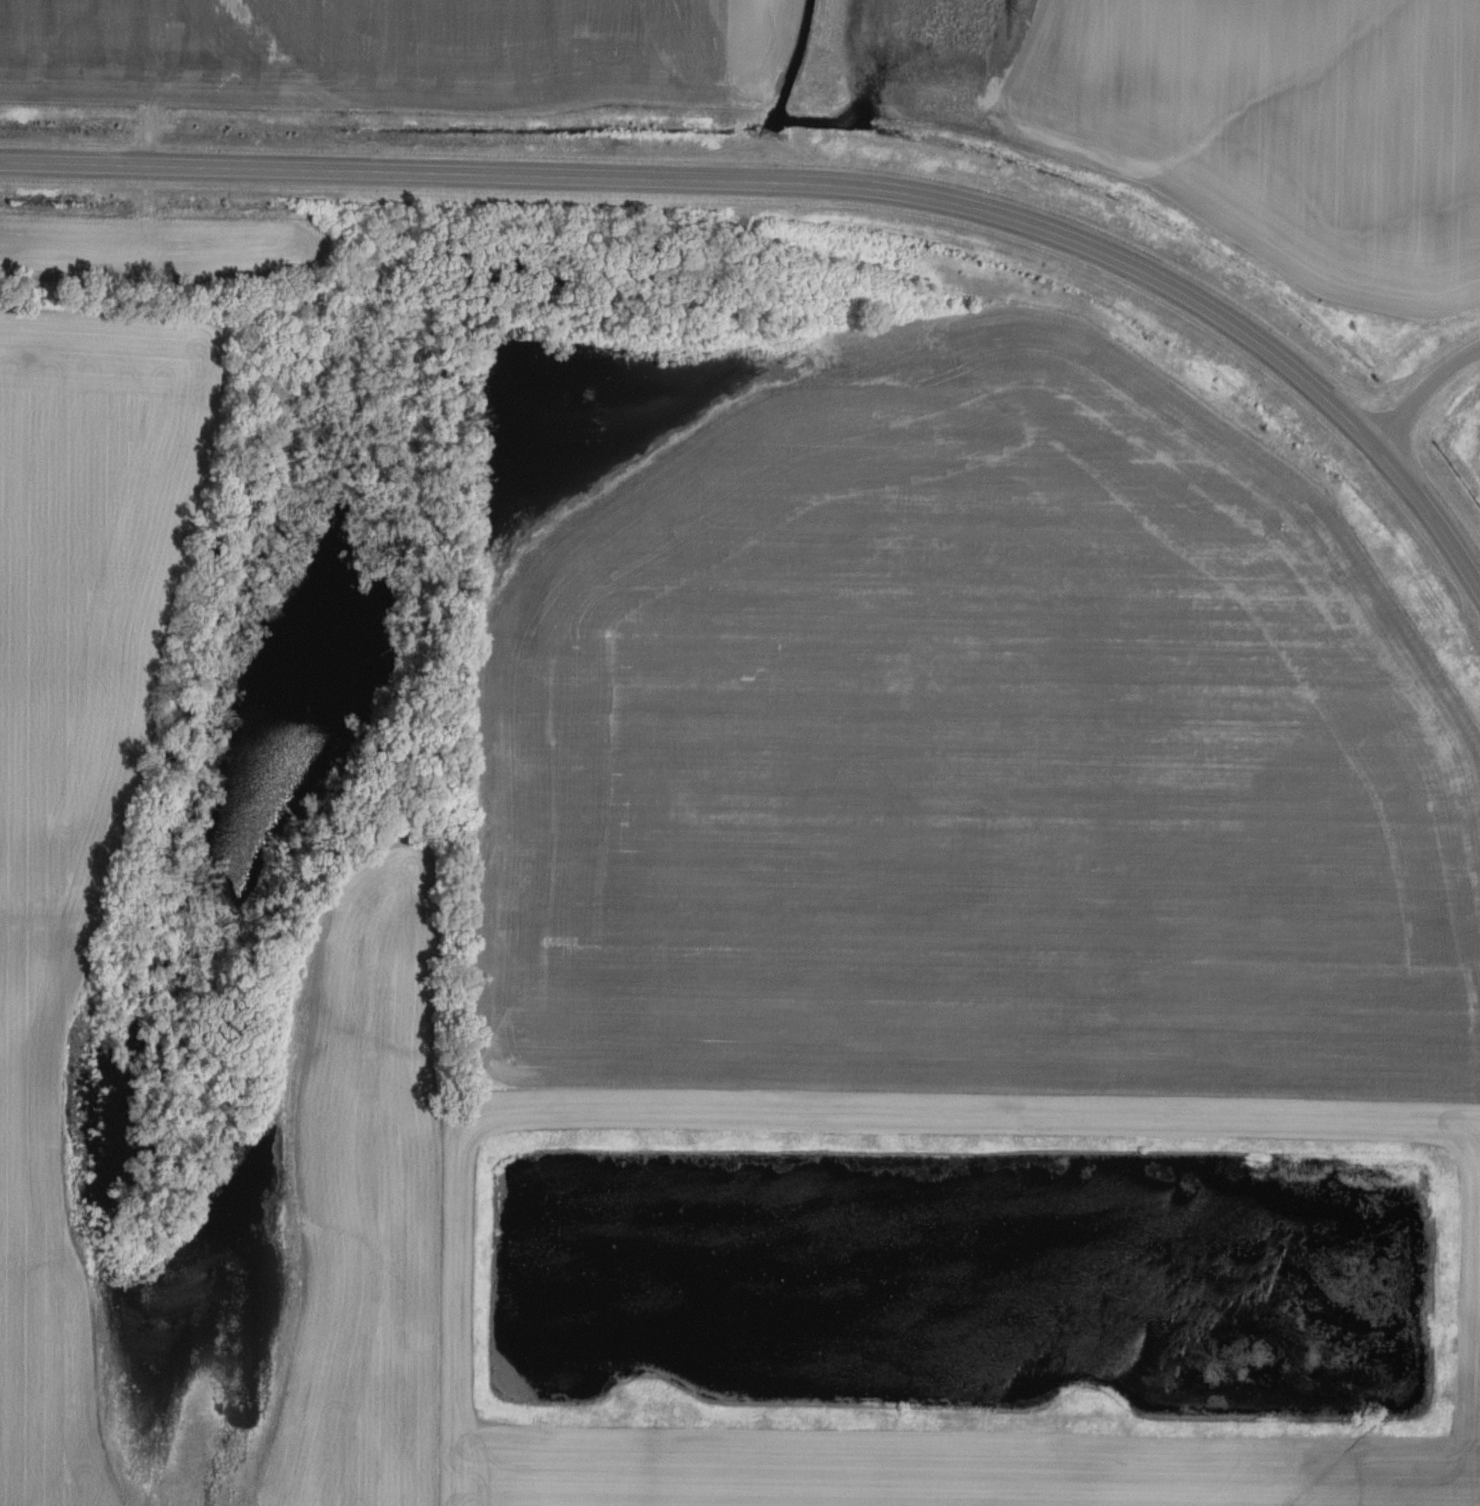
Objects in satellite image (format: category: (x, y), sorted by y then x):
road: (813, 185)
road: (1422, 392)

